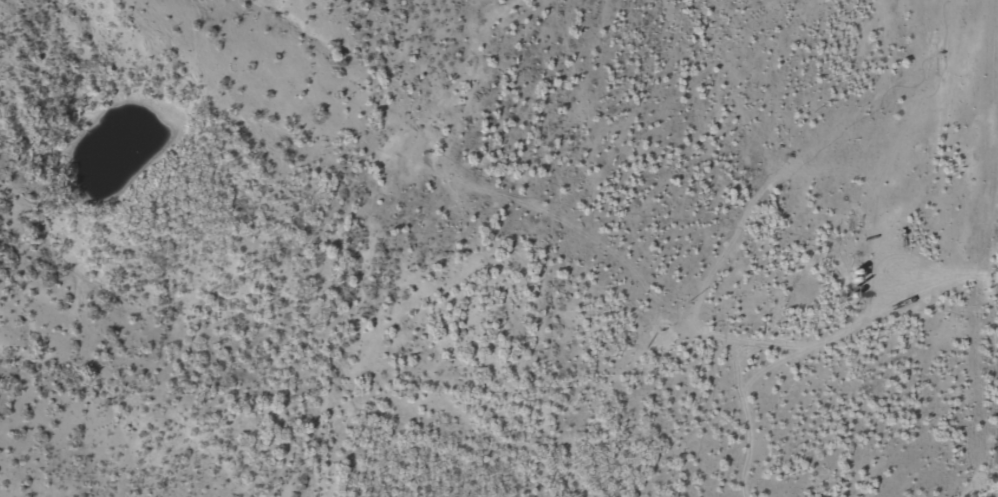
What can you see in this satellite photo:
road: (739, 223)
road: (466, 232)
road: (871, 378)

